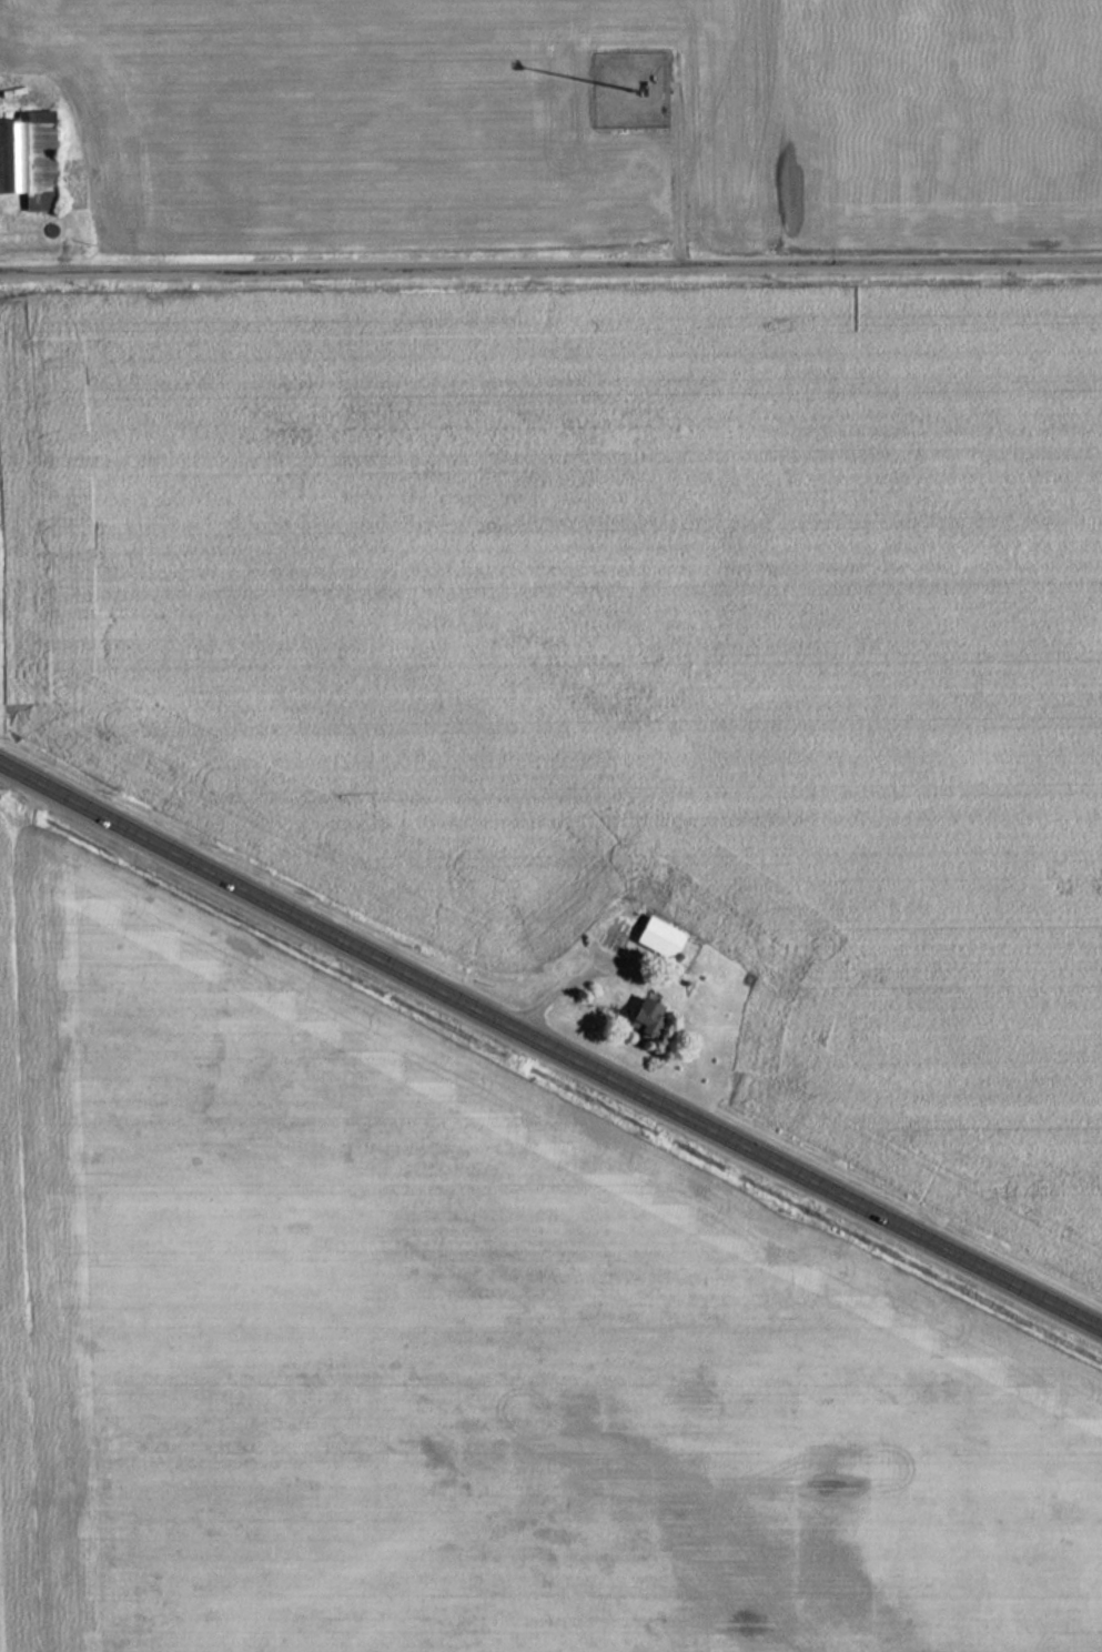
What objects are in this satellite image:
building: (28, 160)
road: (550, 261)
crop: (628, 655)
building: (658, 938)
building: (646, 1018)
road: (550, 1031)
crop: (13, 1322)
crop: (472, 1357)

